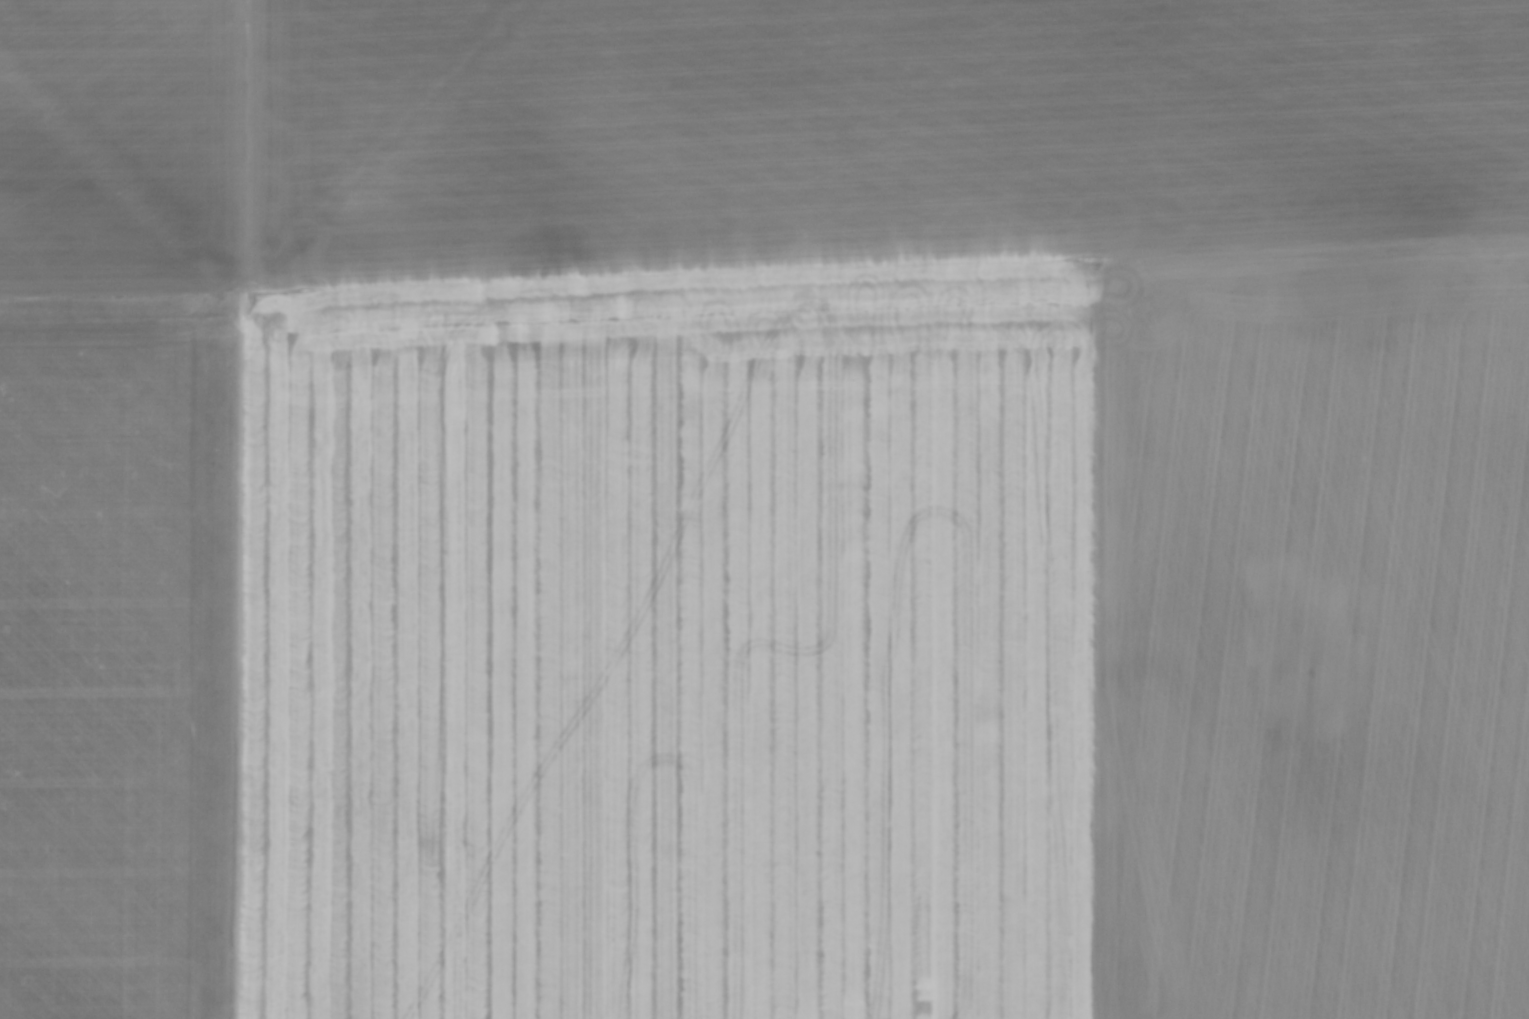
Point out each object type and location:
crop: (764, 509)

